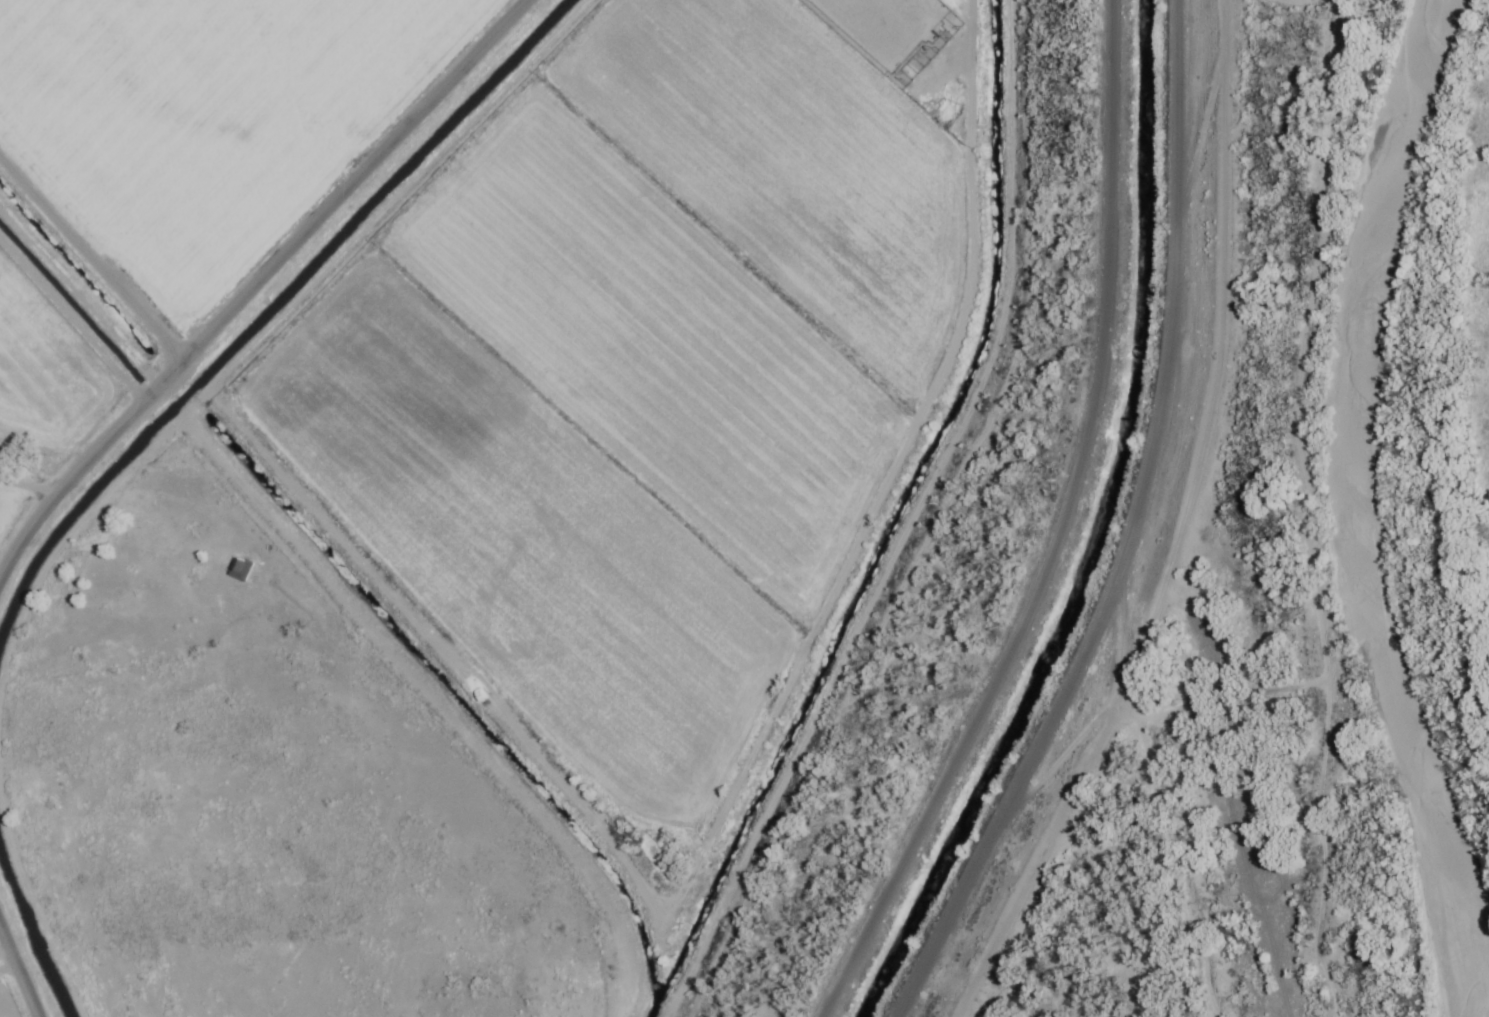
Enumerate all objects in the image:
road: (389, 151)
road: (92, 262)
road: (121, 435)
river: (1345, 509)
road: (1145, 531)
road: (1054, 534)
building: (240, 570)
road: (19, 971)

